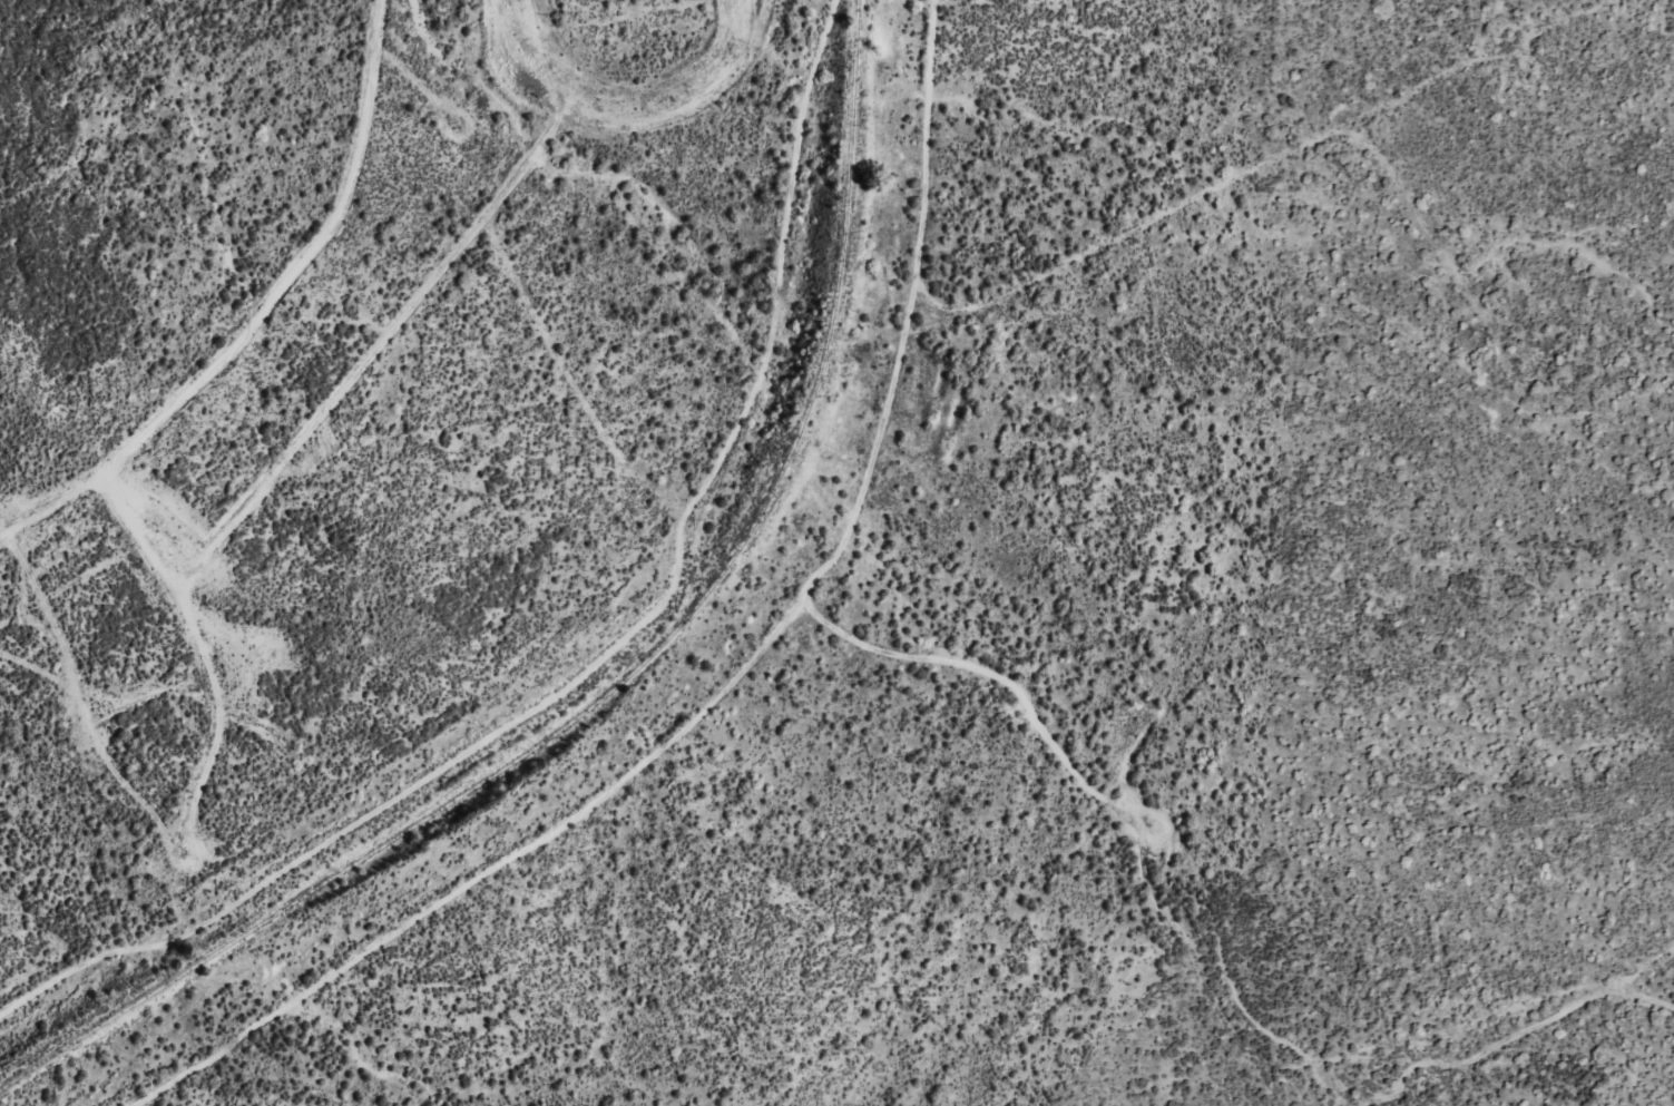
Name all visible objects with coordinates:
railway: (623, 681)

